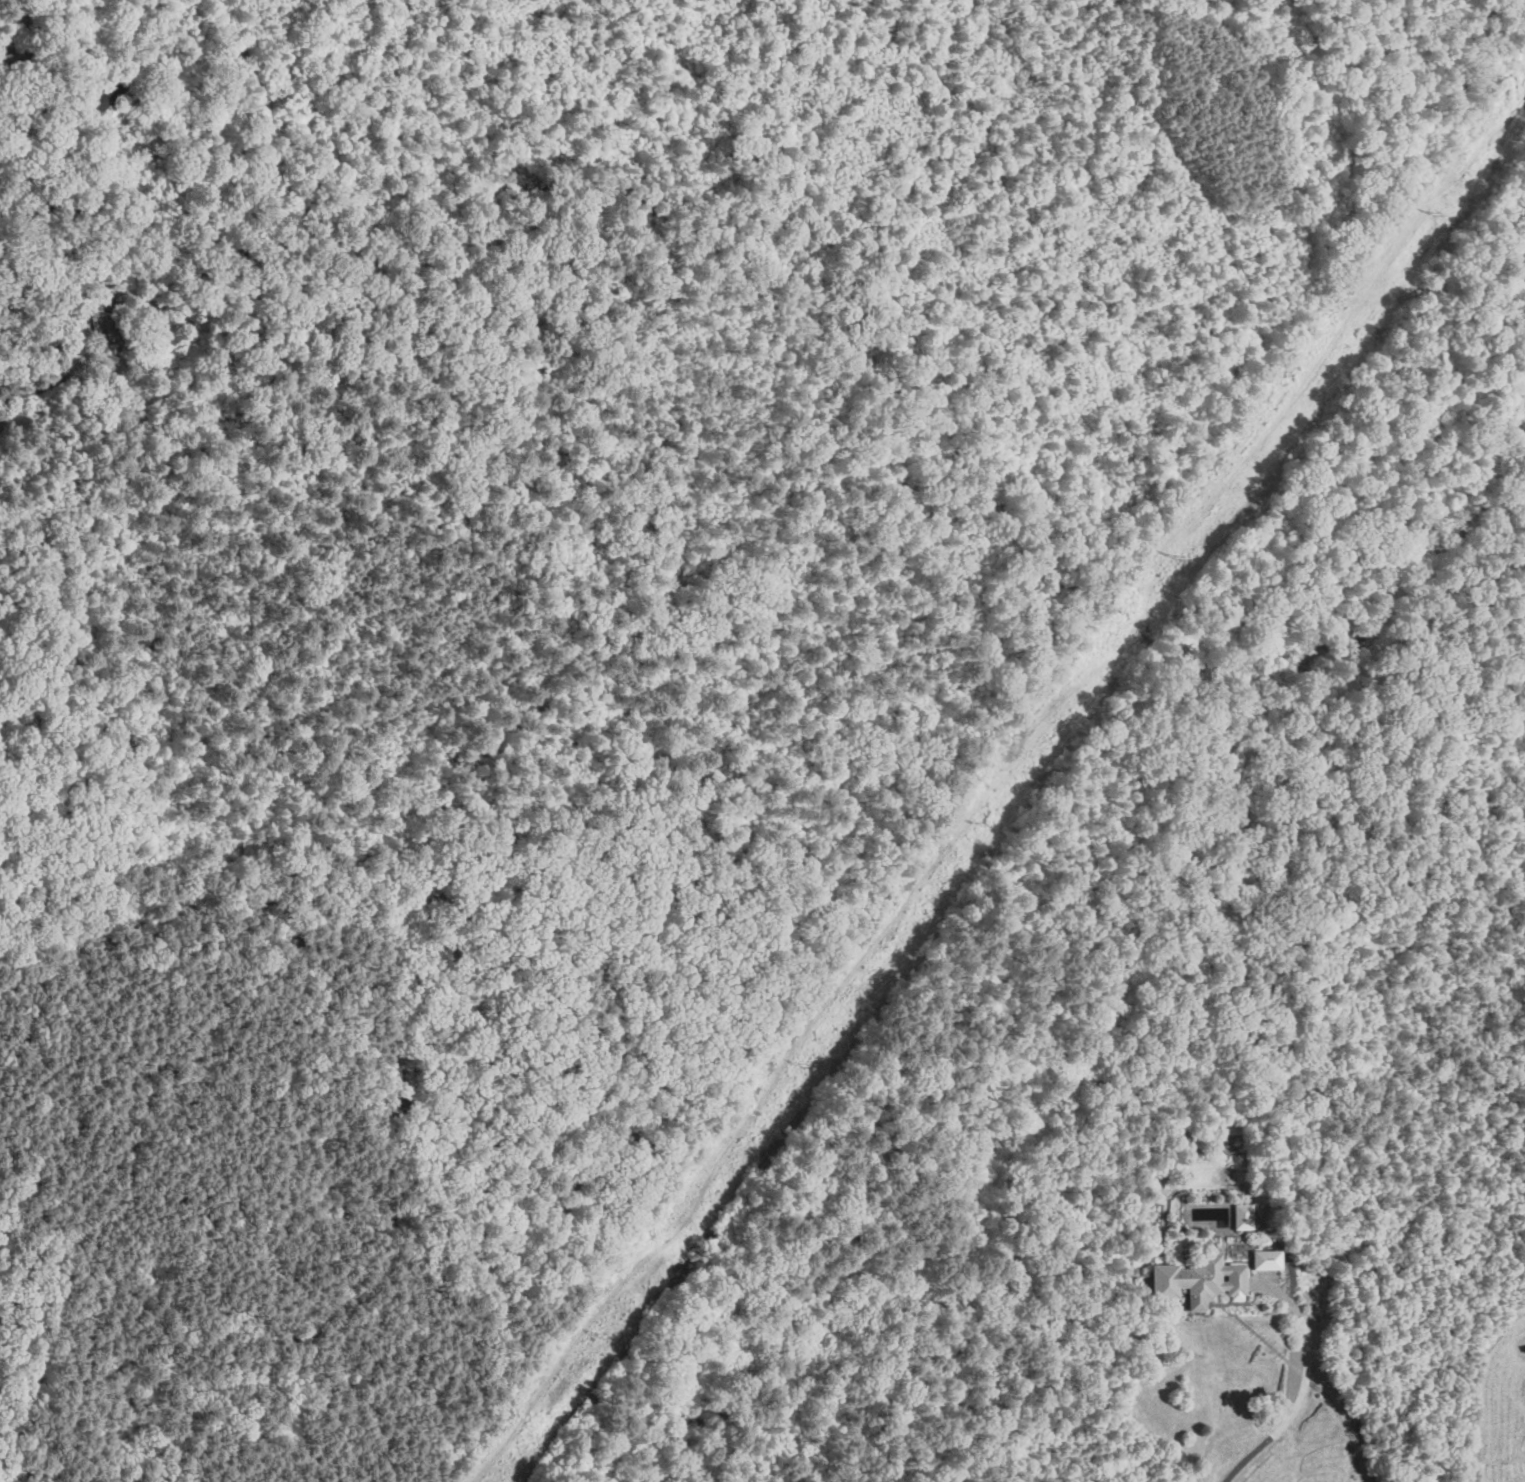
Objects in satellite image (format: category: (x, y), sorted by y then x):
road: (14, 16)
road: (24, 382)
building: (1240, 1216)
building: (1264, 1259)
building: (1193, 1280)
road: (1306, 1350)
road: (1250, 1454)

